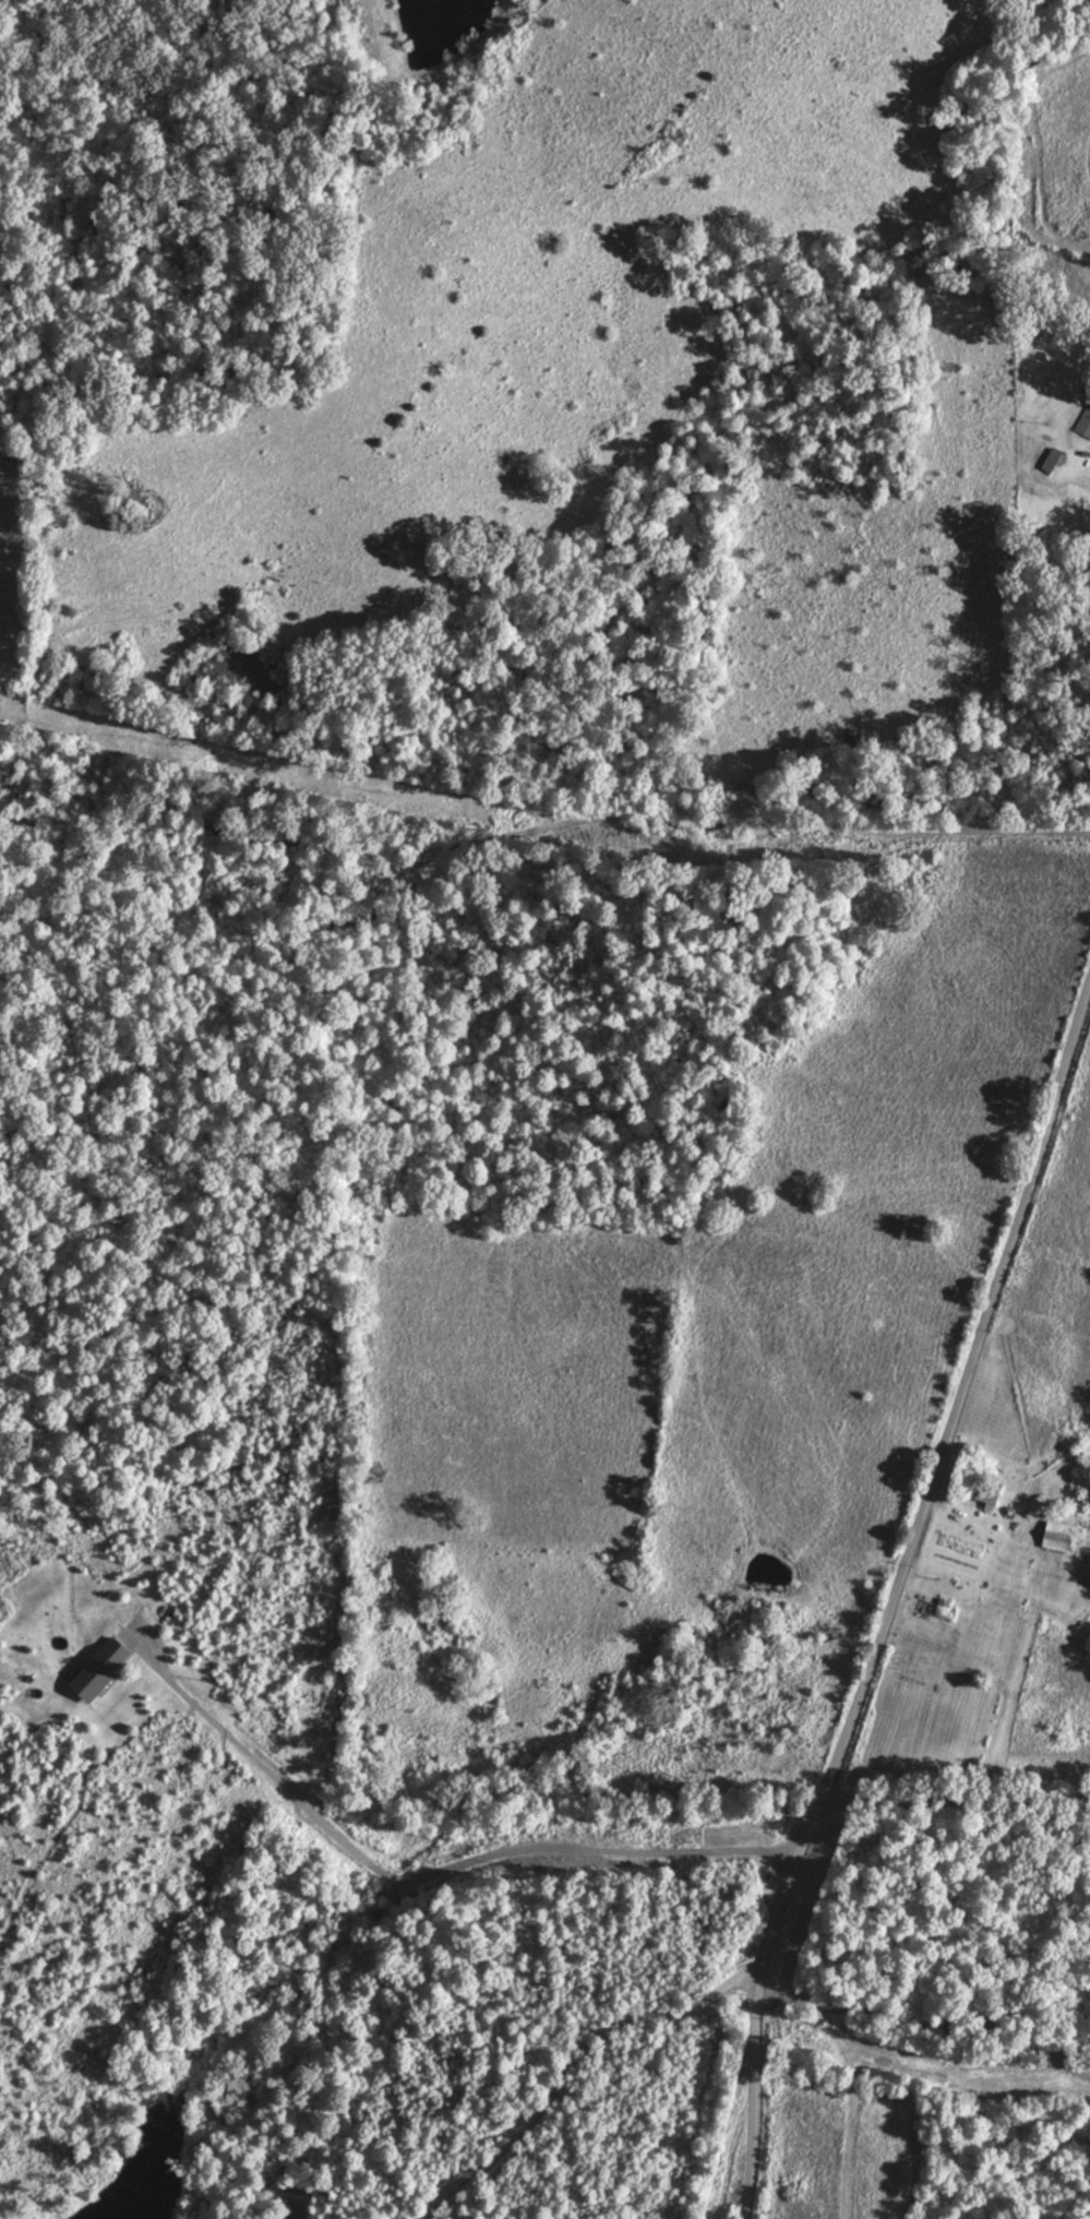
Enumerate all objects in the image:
building: (1085, 422)
building: (1054, 461)
road: (543, 819)
building: (990, 1495)
building: (1056, 1538)
road: (893, 1595)
road: (955, 1800)

